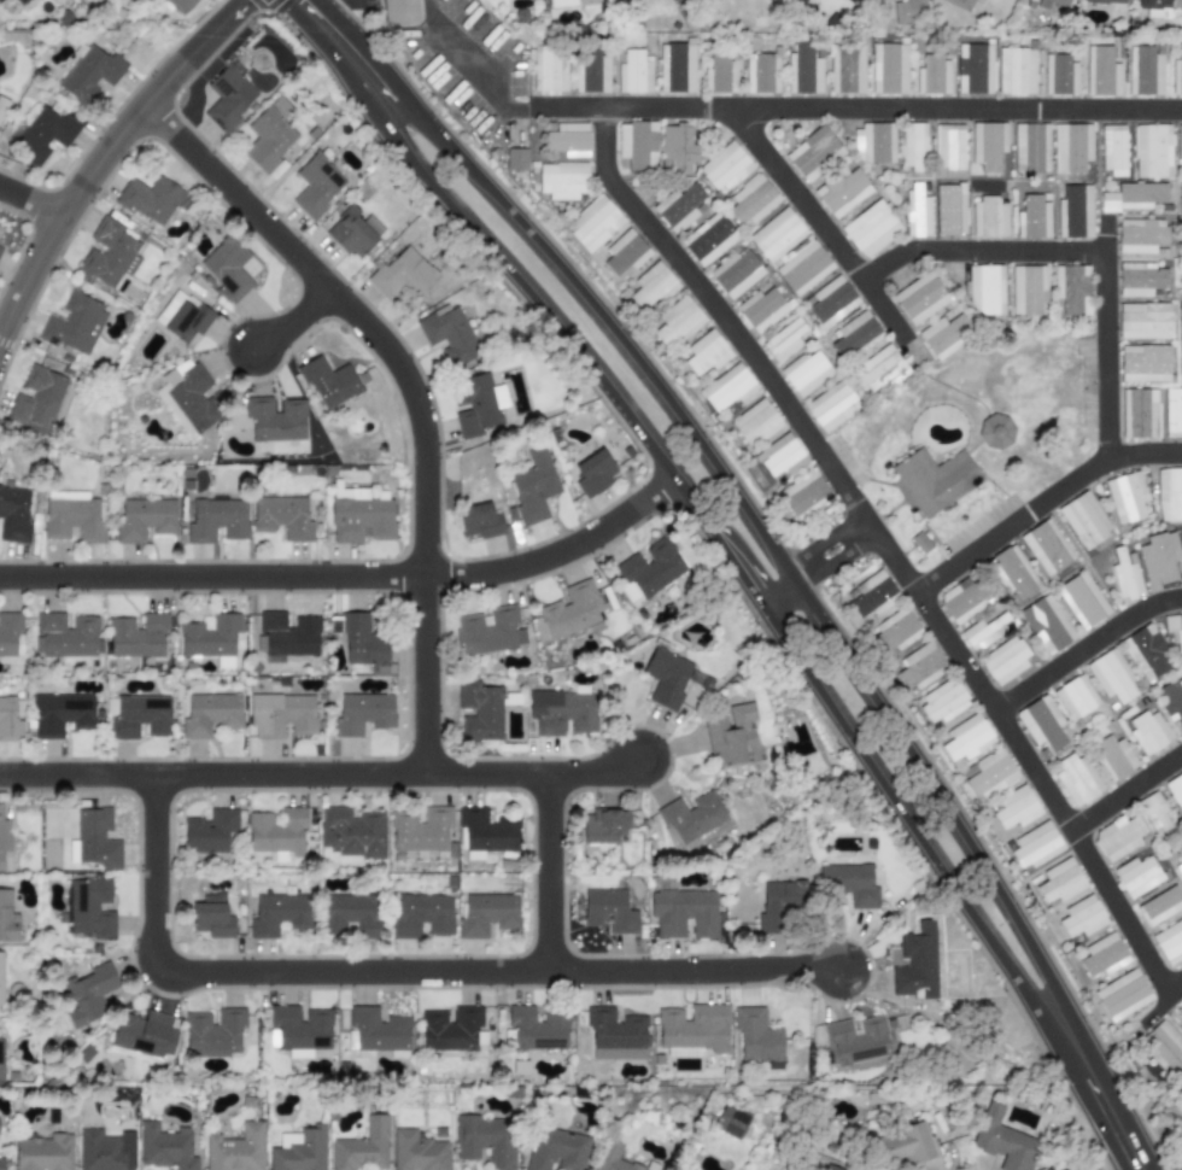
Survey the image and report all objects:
building: (1, 0)
building: (850, 1)
building: (1106, 1)
building: (21, 2)
traffic signals: (244, 2)
traffic signals: (300, 2)
building: (561, 4)
building: (960, 4)
building: (1052, 4)
building: (180, 6)
building: (1155, 8)
road: (308, 10)
road: (328, 11)
building: (398, 11)
building: (909, 12)
road: (355, 60)
building: (847, 68)
building: (677, 69)
building: (888, 69)
building: (975, 69)
building: (548, 70)
building: (803, 70)
building: (591, 71)
building: (1016, 71)
building: (1143, 71)
building: (1101, 72)
building: (90, 74)
building: (633, 74)
building: (761, 74)
building: (1176, 74)
building: (720, 75)
building: (1059, 75)
building: (932, 76)
road: (474, 80)
building: (228, 98)
road: (858, 109)
building: (42, 135)
building: (269, 136)
building: (568, 140)
building: (1180, 141)
building: (874, 144)
building: (637, 145)
building: (988, 145)
building: (678, 147)
building: (914, 147)
building: (1031, 148)
building: (1071, 148)
building: (1113, 150)
building: (949, 151)
building: (1152, 151)
road: (105, 153)
building: (814, 154)
building: (515, 160)
building: (725, 166)
building: (562, 182)
building: (316, 186)
building: (842, 192)
building: (1135, 197)
building: (150, 199)
building: (751, 200)
road: (31, 201)
building: (1181, 205)
building: (678, 207)
building: (950, 210)
building: (917, 211)
building: (1075, 212)
building: (1034, 217)
building: (988, 218)
building: (593, 223)
building: (871, 229)
building: (353, 232)
building: (778, 235)
building: (1141, 235)
road: (1106, 236)
building: (708, 240)
building: (0, 247)
building: (1181, 248)
road: (976, 252)
building: (107, 253)
building: (625, 253)
building: (250, 268)
building: (804, 268)
building: (226, 270)
building: (402, 274)
building: (736, 274)
building: (1141, 279)
building: (653, 286)
building: (1028, 289)
building: (1071, 289)
building: (985, 291)
building: (920, 298)
building: (831, 302)
road: (538, 306)
building: (762, 309)
road: (883, 311)
building: (182, 317)
road: (291, 321)
building: (1145, 321)
building: (677, 322)
building: (74, 324)
road: (607, 324)
building: (854, 334)
building: (449, 335)
building: (944, 335)
building: (784, 339)
road: (911, 351)
building: (706, 353)
building: (1145, 364)
building: (1181, 364)
building: (877, 370)
building: (806, 373)
building: (328, 381)
road: (409, 387)
building: (727, 387)
building: (36, 398)
building: (188, 398)
building: (478, 405)
building: (831, 406)
park: (1002, 408)
building: (1140, 414)
building: (1172, 414)
building: (275, 420)
building: (756, 422)
building: (995, 432)
road: (983, 433)
building: (780, 457)
building: (593, 473)
building: (932, 481)
building: (533, 487)
building: (804, 495)
building: (1169, 495)
building: (1127, 497)
road: (1041, 503)
building: (14, 514)
building: (74, 516)
building: (359, 516)
building: (282, 517)
building: (145, 520)
building: (215, 520)
building: (1084, 520)
building: (479, 521)
road: (824, 544)
road: (882, 546)
building: (1047, 549)
road: (726, 556)
building: (1159, 557)
road: (835, 560)
building: (648, 572)
building: (1012, 573)
building: (1125, 574)
road: (349, 578)
road: (774, 590)
building: (873, 595)
building: (962, 599)
building: (1082, 601)
building: (570, 610)
building: (1047, 625)
building: (490, 631)
building: (1174, 631)
building: (895, 632)
building: (982, 633)
building: (65, 636)
building: (288, 636)
building: (137, 637)
building: (211, 637)
building: (363, 643)
road: (1084, 649)
building: (1147, 654)
building: (1003, 661)
building: (920, 667)
building: (1111, 677)
building: (666, 678)
building: (1076, 700)
building: (1171, 701)
building: (943, 702)
building: (362, 713)
building: (480, 713)
building: (562, 713)
building: (210, 714)
building: (60, 715)
building: (281, 715)
building: (136, 716)
building: (8, 720)
building: (1041, 724)
building: (1149, 732)
building: (967, 738)
building: (1113, 757)
street lamp: (672, 771)
road: (320, 774)
building: (989, 774)
building: (1076, 778)
road: (932, 789)
building: (1176, 790)
road: (1125, 792)
building: (1016, 808)
road: (900, 811)
building: (1154, 814)
building: (692, 820)
building: (603, 825)
building: (210, 831)
building: (276, 831)
building: (351, 831)
building: (420, 831)
building: (485, 833)
building: (4, 838)
building: (1118, 838)
building: (94, 840)
building: (1035, 846)
building: (1180, 865)
road: (548, 873)
building: (1137, 876)
building: (1060, 882)
building: (848, 883)
building: (779, 906)
building: (1159, 907)
building: (87, 908)
building: (609, 911)
building: (684, 913)
building: (350, 914)
building: (487, 914)
building: (277, 915)
building: (211, 917)
building: (422, 917)
building: (1082, 917)
building: (6, 918)
building: (1169, 942)
building: (1102, 957)
building: (915, 964)
road: (397, 972)
building: (0, 981)
road: (1177, 988)
building: (88, 995)
building: (1123, 996)
street lamp: (860, 999)
road: (1159, 1008)
building: (1178, 1011)
building: (300, 1028)
building: (450, 1029)
building: (537, 1029)
building: (692, 1030)
building: (379, 1031)
building: (213, 1032)
building: (145, 1034)
building: (756, 1035)
building: (614, 1036)
building: (855, 1041)
building: (1164, 1049)
building: (1, 1059)
road: (1094, 1090)
building: (731, 1122)
building: (1002, 1140)
building: (485, 1141)
building: (362, 1146)
building: (903, 1146)
building: (165, 1147)
building: (235, 1149)
building: (299, 1149)
building: (557, 1151)
building: (101, 1152)
building: (417, 1152)
building: (43, 1153)
building: (610, 1158)
building: (1, 1164)
building: (829, 1168)

